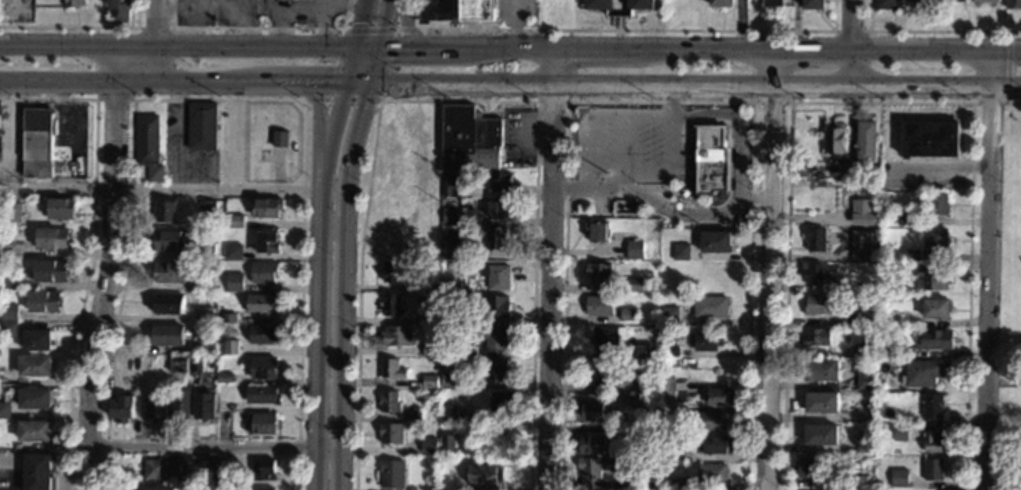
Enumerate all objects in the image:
building: (919, 1)
building: (952, 1)
building: (986, 1)
building: (74, 3)
building: (721, 3)
building: (772, 3)
building: (1013, 3)
building: (597, 4)
building: (640, 4)
building: (813, 4)
building: (887, 4)
building: (120, 10)
building: (455, 10)
road: (618, 15)
road: (404, 24)
road: (514, 24)
road: (81, 26)
road: (739, 26)
road: (257, 28)
road: (406, 30)
road: (624, 30)
road: (928, 30)
road: (392, 40)
road: (157, 42)
road: (851, 42)
road: (169, 45)
traffic signals: (352, 47)
traffic signals: (381, 47)
road: (510, 48)
road: (867, 49)
road: (1007, 67)
road: (567, 81)
road: (510, 83)
road: (751, 84)
traffic signals: (342, 85)
traffic signals: (372, 85)
road: (113, 99)
road: (215, 99)
road: (669, 100)
road: (457, 101)
road: (659, 102)
road: (987, 103)
road: (1012, 104)
road: (710, 111)
road: (318, 116)
road: (593, 116)
building: (200, 126)
building: (454, 131)
road: (11, 135)
road: (177, 136)
road: (691, 136)
building: (279, 139)
building: (930, 139)
building: (145, 140)
building: (834, 140)
building: (866, 142)
building: (35, 143)
parking lot: (632, 145)
building: (477, 149)
road: (625, 151)
building: (711, 160)
road: (669, 167)
building: (153, 174)
building: (501, 184)
building: (450, 185)
road: (567, 188)
road: (604, 188)
road: (664, 188)
road: (739, 188)
road: (173, 189)
road: (730, 199)
road: (754, 199)
building: (937, 205)
road: (969, 205)
building: (60, 207)
building: (266, 207)
building: (205, 209)
building: (497, 211)
building: (11, 212)
building: (162, 212)
building: (861, 212)
building: (448, 216)
building: (905, 218)
building: (234, 222)
building: (597, 231)
building: (51, 239)
building: (496, 239)
building: (937, 240)
road: (343, 241)
building: (816, 241)
building: (168, 242)
road: (320, 242)
building: (267, 243)
building: (716, 243)
building: (450, 245)
building: (860, 246)
road: (92, 248)
building: (634, 251)
building: (204, 252)
building: (233, 252)
building: (680, 253)
building: (911, 256)
road: (108, 268)
building: (451, 268)
building: (899, 268)
road: (550, 269)
building: (49, 270)
road: (768, 270)
road: (989, 270)
building: (392, 271)
building: (168, 273)
building: (263, 273)
building: (598, 273)
building: (812, 273)
building: (496, 278)
building: (9, 280)
building: (932, 281)
building: (233, 284)
building: (204, 285)
building: (633, 285)
building: (432, 287)
building: (860, 287)
road: (786, 296)
building: (43, 301)
park: (1009, 302)
building: (261, 304)
building: (167, 305)
building: (390, 305)
building: (599, 306)
building: (818, 306)
building: (497, 307)
building: (707, 307)
building: (936, 309)
building: (8, 312)
building: (203, 315)
building: (628, 316)
building: (669, 317)
building: (229, 318)
building: (886, 318)
building: (432, 320)
building: (855, 320)
building: (449, 322)
building: (8, 329)
building: (262, 335)
building: (166, 336)
building: (396, 337)
building: (492, 338)
building: (604, 338)
building: (817, 339)
building: (36, 340)
building: (937, 340)
building: (704, 342)
building: (204, 348)
building: (226, 348)
building: (429, 351)
building: (865, 351)
building: (886, 351)
building: (467, 352)
building: (671, 352)
building: (640, 353)
building: (144, 363)
building: (177, 365)
building: (34, 366)
building: (196, 366)
building: (263, 369)
building: (391, 370)
building: (495, 371)
building: (822, 371)
building: (921, 374)
building: (605, 375)
building: (643, 376)
building: (864, 377)
building: (224, 379)
building: (449, 381)
road: (1004, 381)
building: (429, 382)
building: (645, 388)
building: (664, 390)
building: (260, 395)
building: (34, 398)
building: (719, 398)
building: (389, 403)
building: (501, 403)
building: (821, 403)
building: (179, 405)
building: (207, 406)
building: (932, 406)
building: (907, 408)
building: (640, 409)
building: (4, 410)
building: (120, 410)
building: (154, 410)
building: (447, 413)
building: (590, 413)
building: (664, 414)
building: (413, 415)
building: (864, 415)
building: (710, 422)
building: (261, 424)
building: (34, 430)
building: (442, 430)
building: (391, 433)
building: (900, 433)
building: (640, 436)
building: (821, 436)
building: (933, 442)
building: (865, 443)
building: (446, 444)
building: (593, 446)
building: (428, 447)
building: (716, 447)
road: (215, 448)
building: (895, 452)
building: (665, 455)
building: (198, 460)
building: (822, 462)
building: (888, 464)
building: (598, 466)
building: (202, 467)
building: (808, 468)
building: (162, 469)
building: (262, 470)
building: (933, 470)
building: (36, 471)
building: (392, 475)
building: (485, 475)
building: (711, 475)
building: (225, 477)
building: (899, 478)
building: (858, 482)
building: (678, 484)
building: (638, 485)
building: (263, 488)
building: (158, 489)

